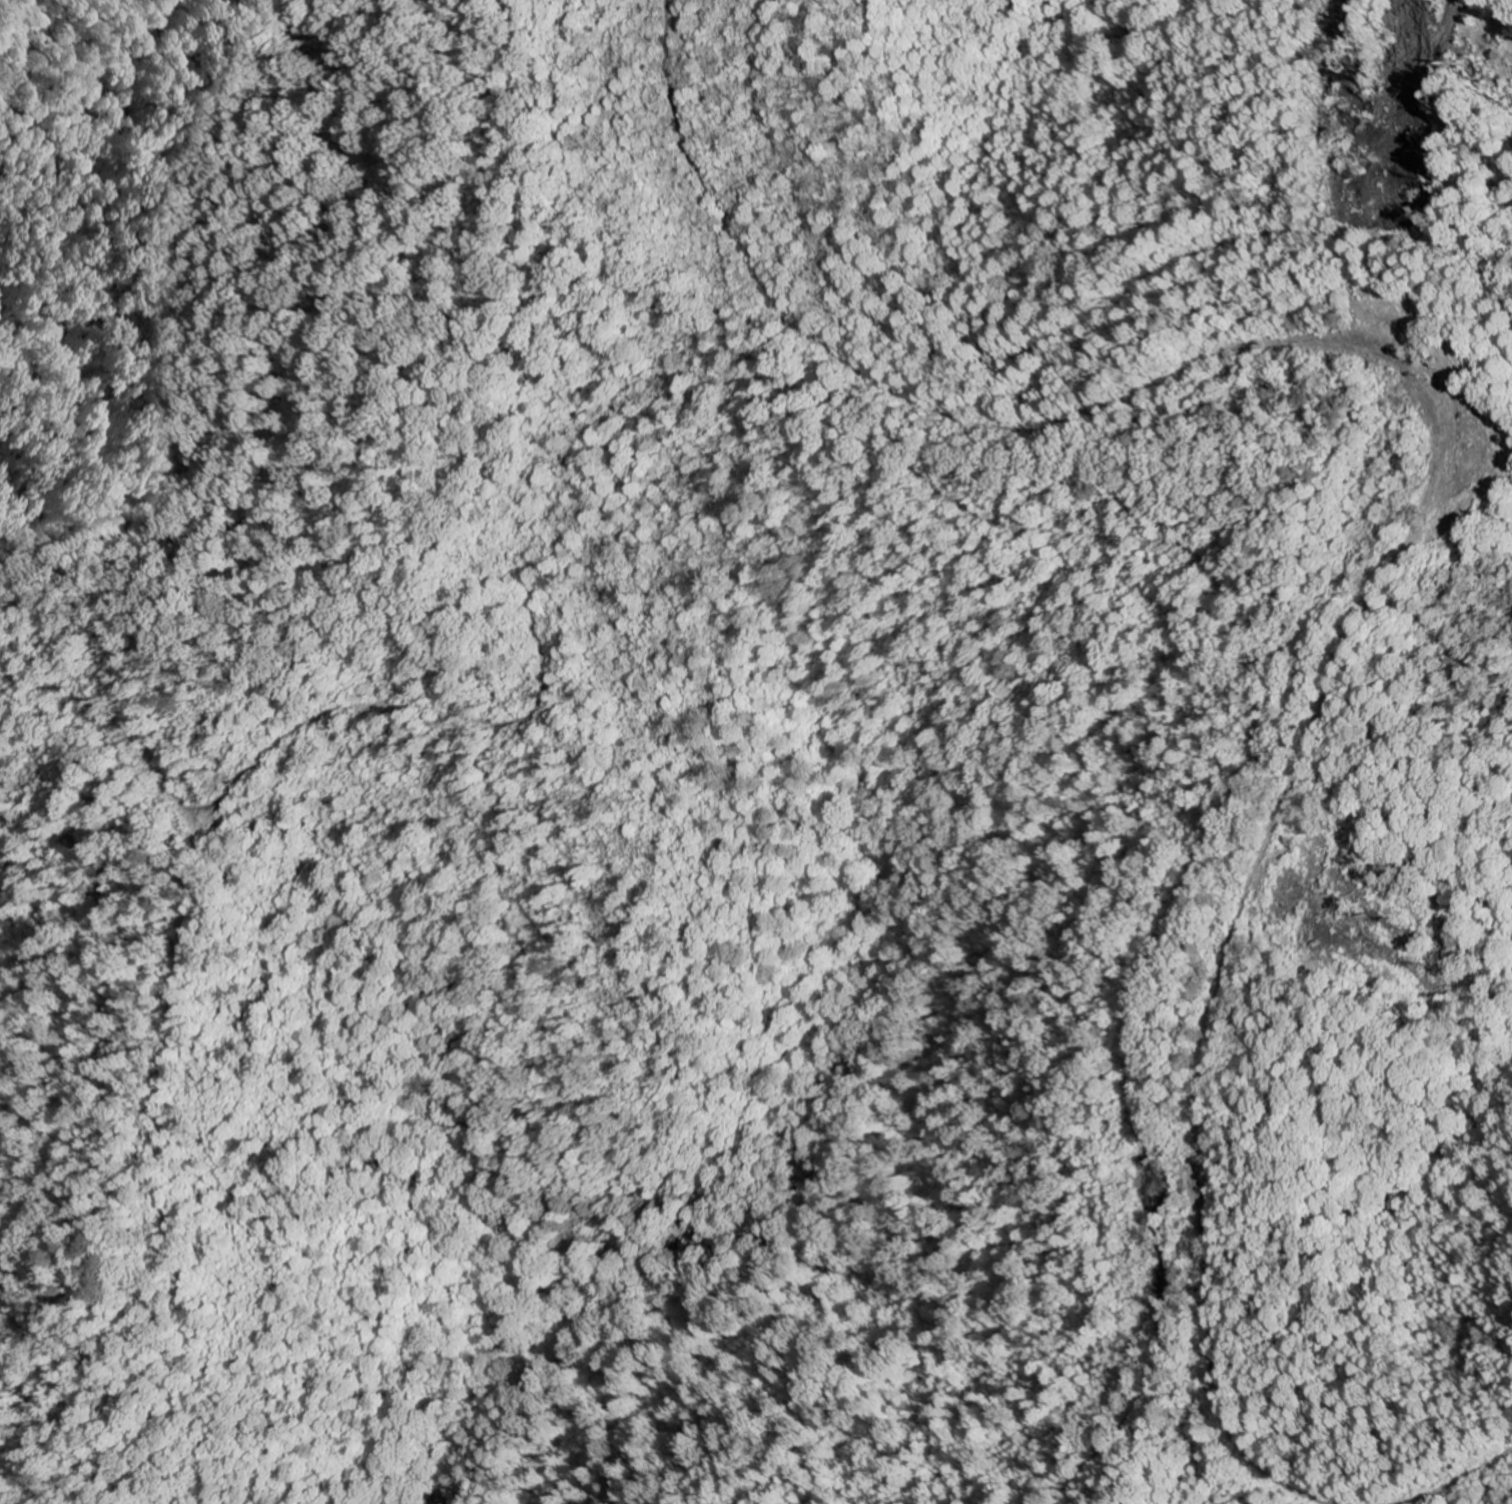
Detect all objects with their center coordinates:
road: (1094, 969)

